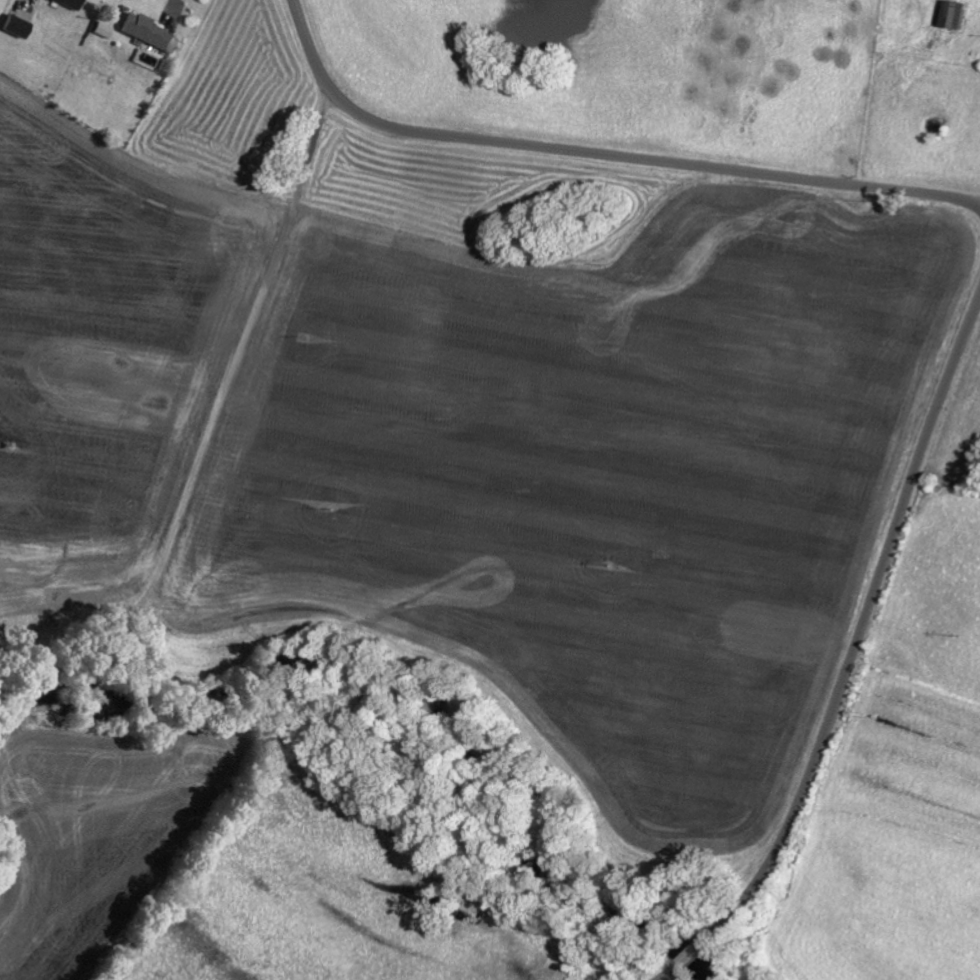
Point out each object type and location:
building: (71, 3)
road: (170, 5)
building: (955, 13)
building: (17, 25)
building: (102, 29)
building: (148, 31)
road: (604, 154)
road: (211, 422)
road: (852, 655)
road: (7, 851)

